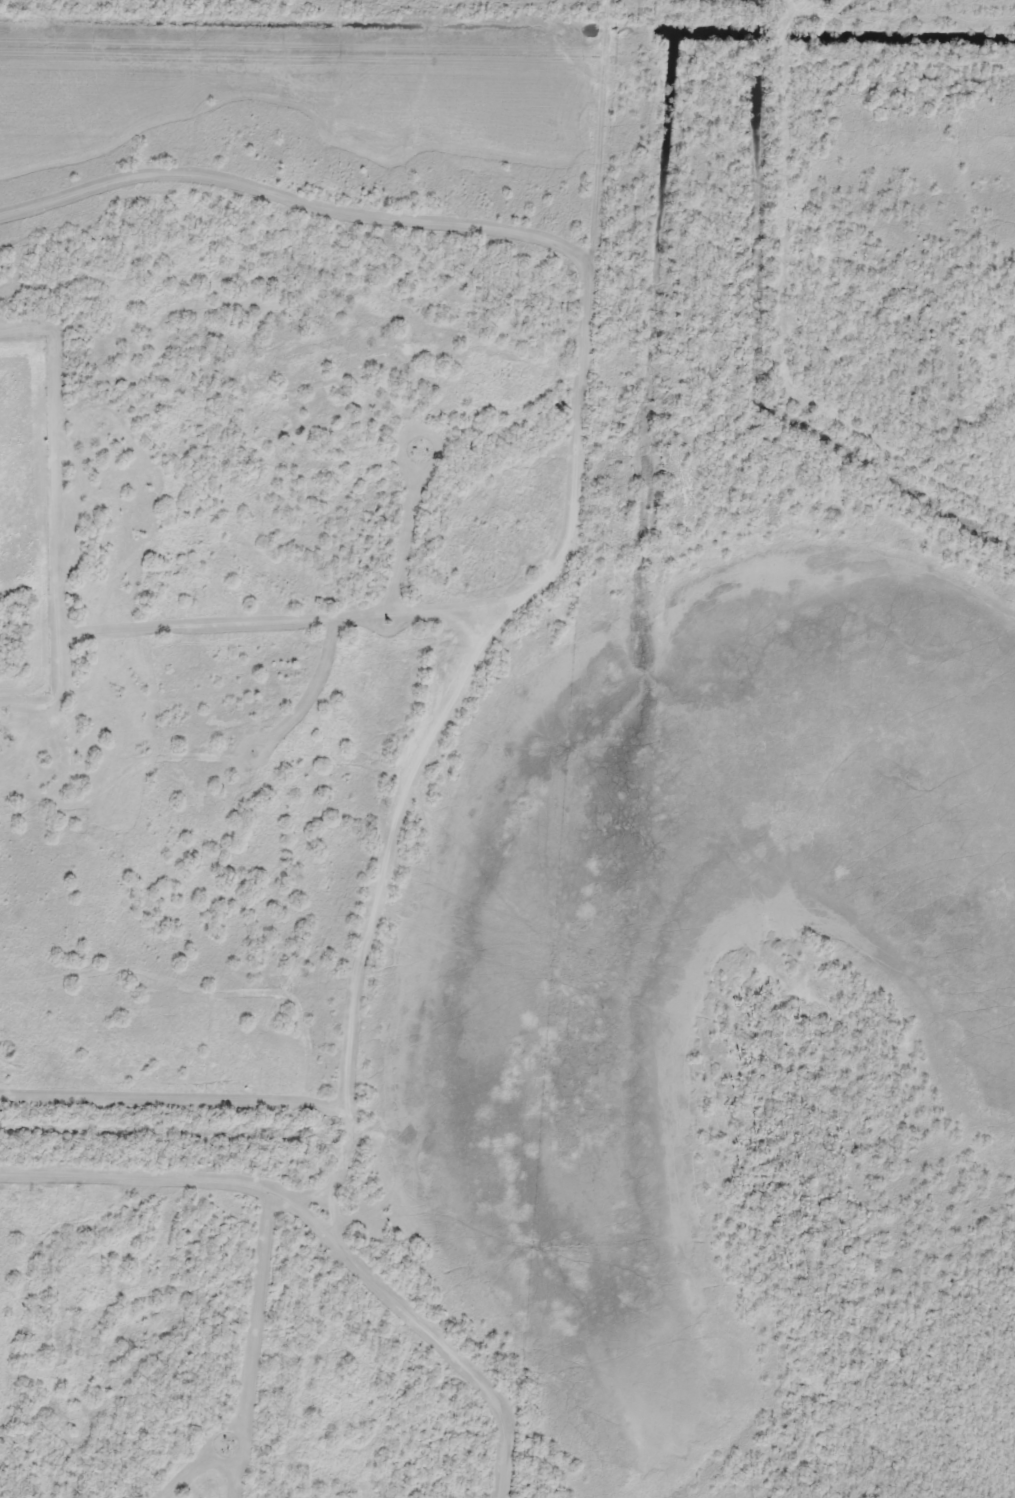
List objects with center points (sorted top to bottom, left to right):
road: (834, 218)
road: (942, 1436)

